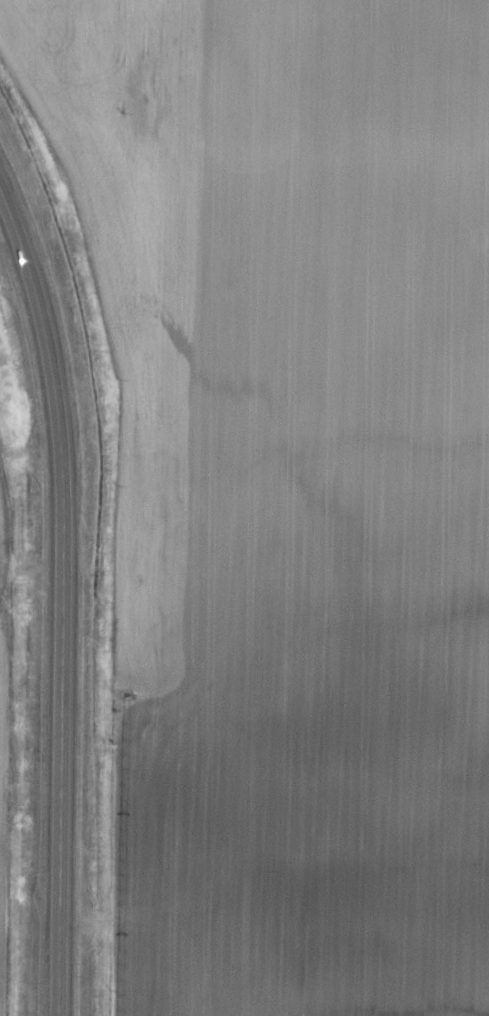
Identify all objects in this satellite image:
road: (41, 337)
road: (55, 751)

